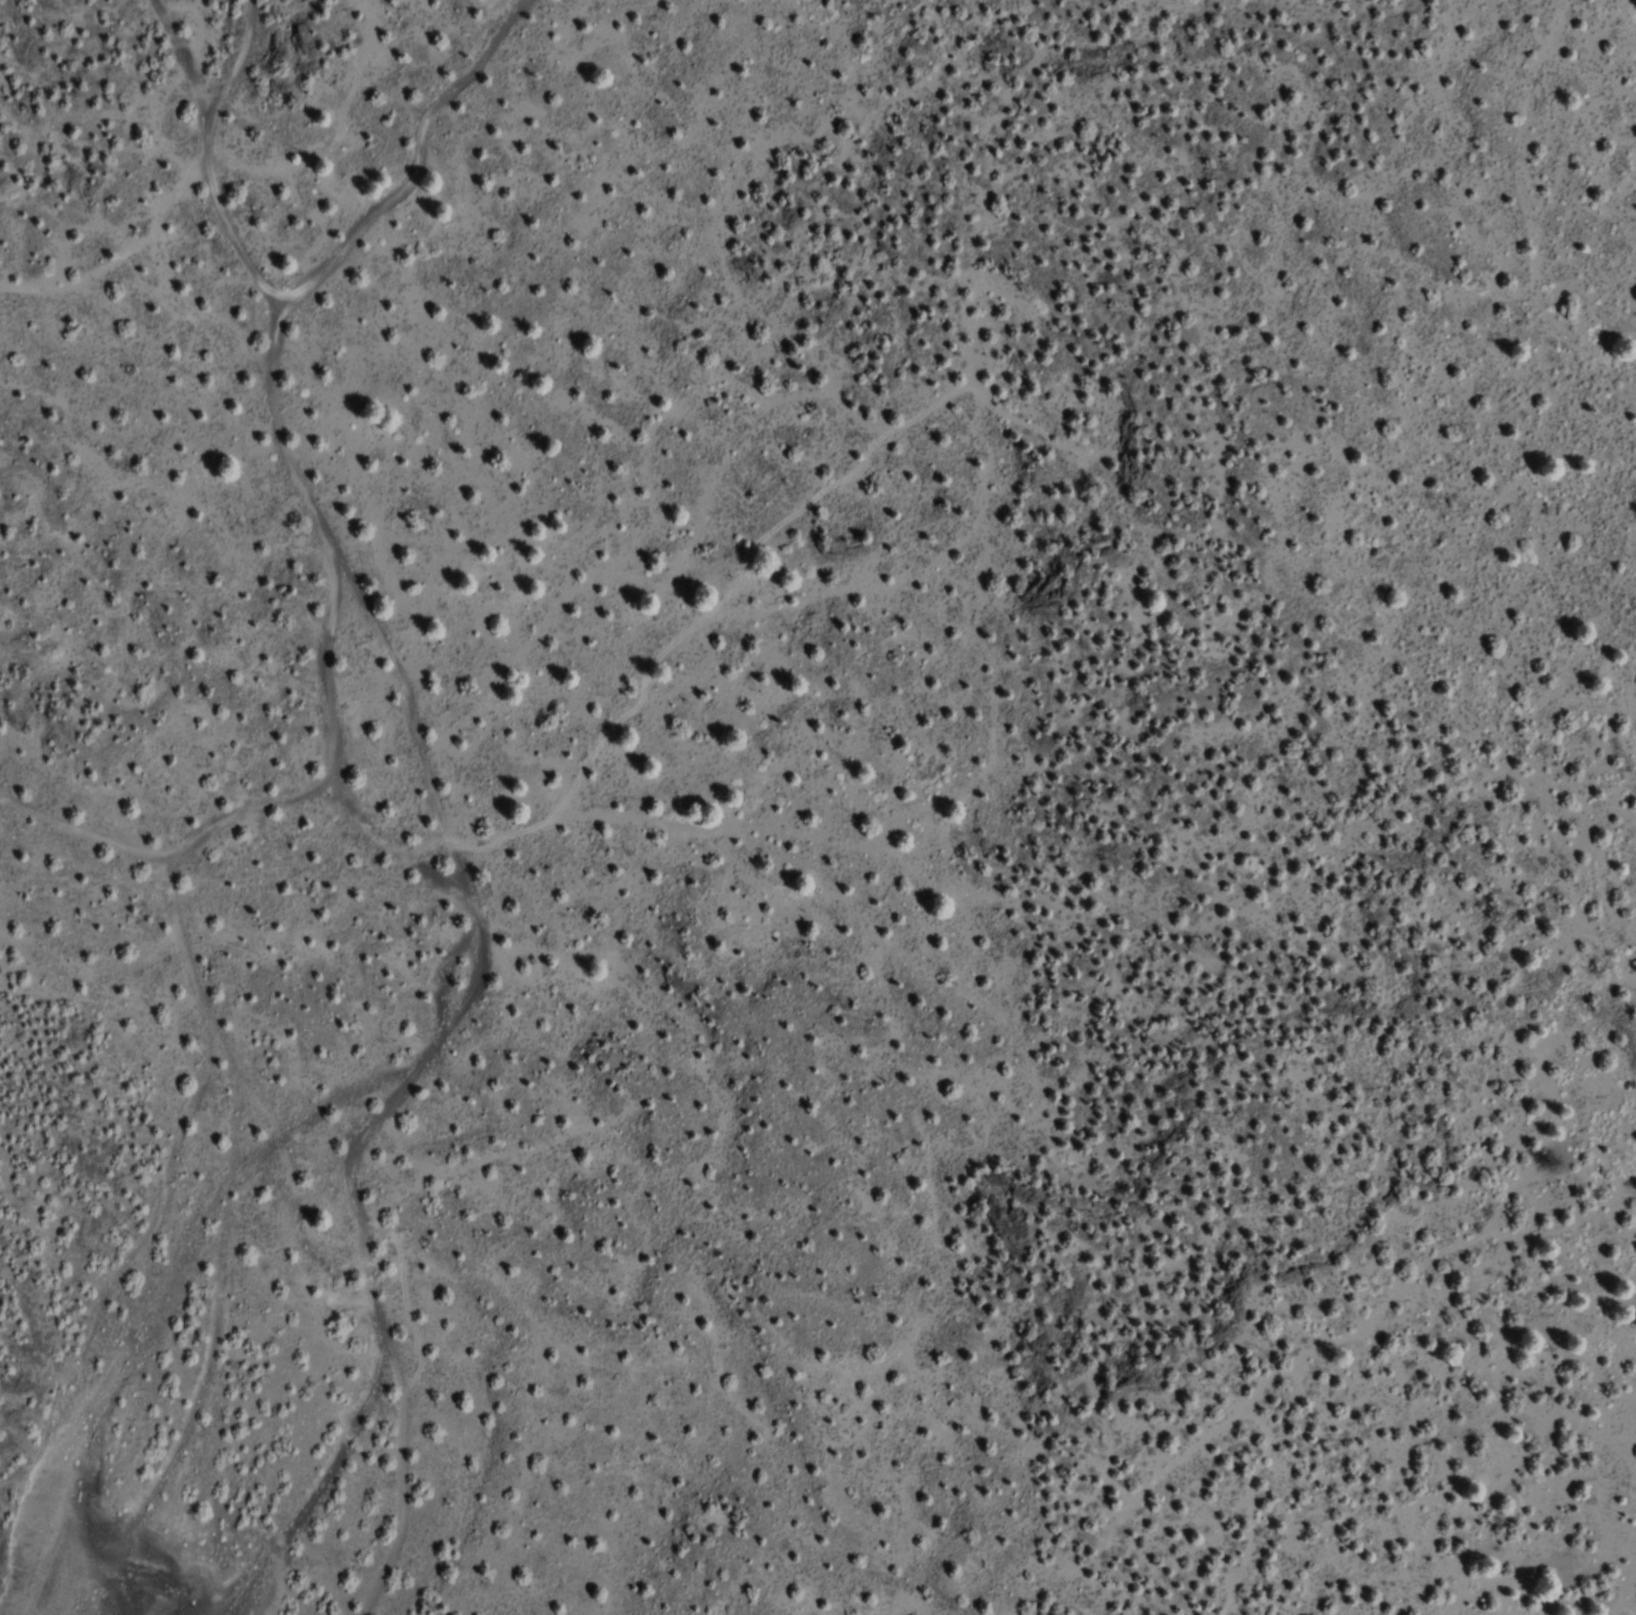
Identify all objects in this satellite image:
road: (203, 147)
road: (407, 165)
road: (325, 743)
road: (169, 847)
road: (475, 966)
quarry: (113, 1530)

